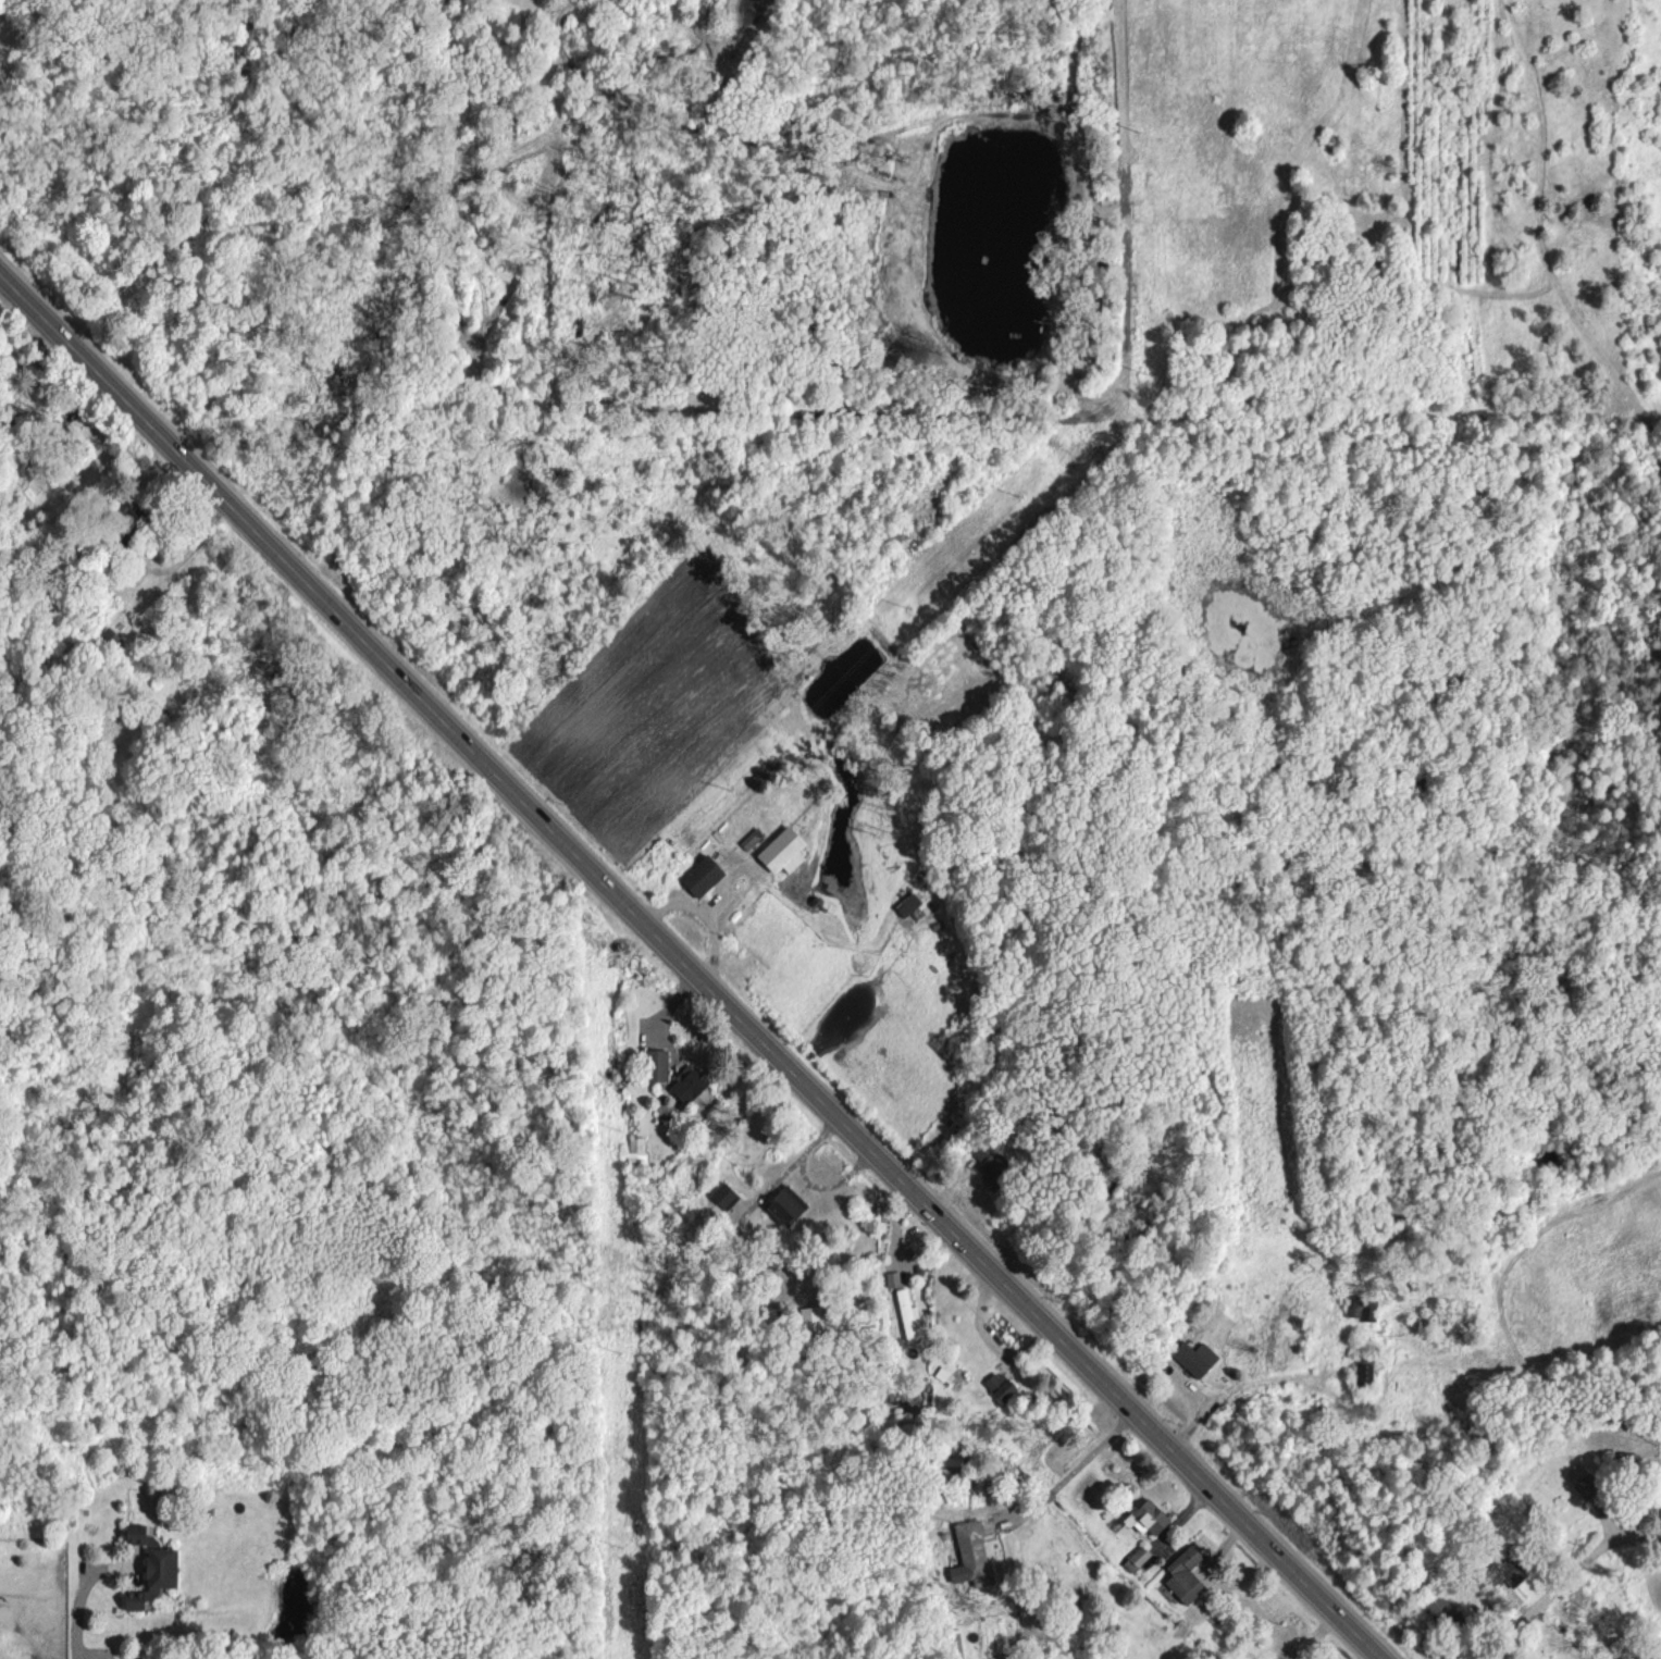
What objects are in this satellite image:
building: (749, 839)
building: (780, 852)
building: (699, 877)
building: (906, 905)
road: (706, 917)
road: (693, 962)
building: (654, 1066)
building: (689, 1088)
building: (635, 1149)
building: (988, 1152)
building: (722, 1196)
building: (784, 1204)
building: (892, 1278)
building: (908, 1315)
building: (810, 1318)
building: (1193, 1357)
building: (997, 1385)
road: (1076, 1466)
building: (134, 1533)
building: (969, 1553)
building: (1136, 1558)
building: (1500, 1571)
building: (1183, 1574)
road: (1563, 1575)
building: (152, 1577)
building: (1434, 1604)
road: (78, 1623)

